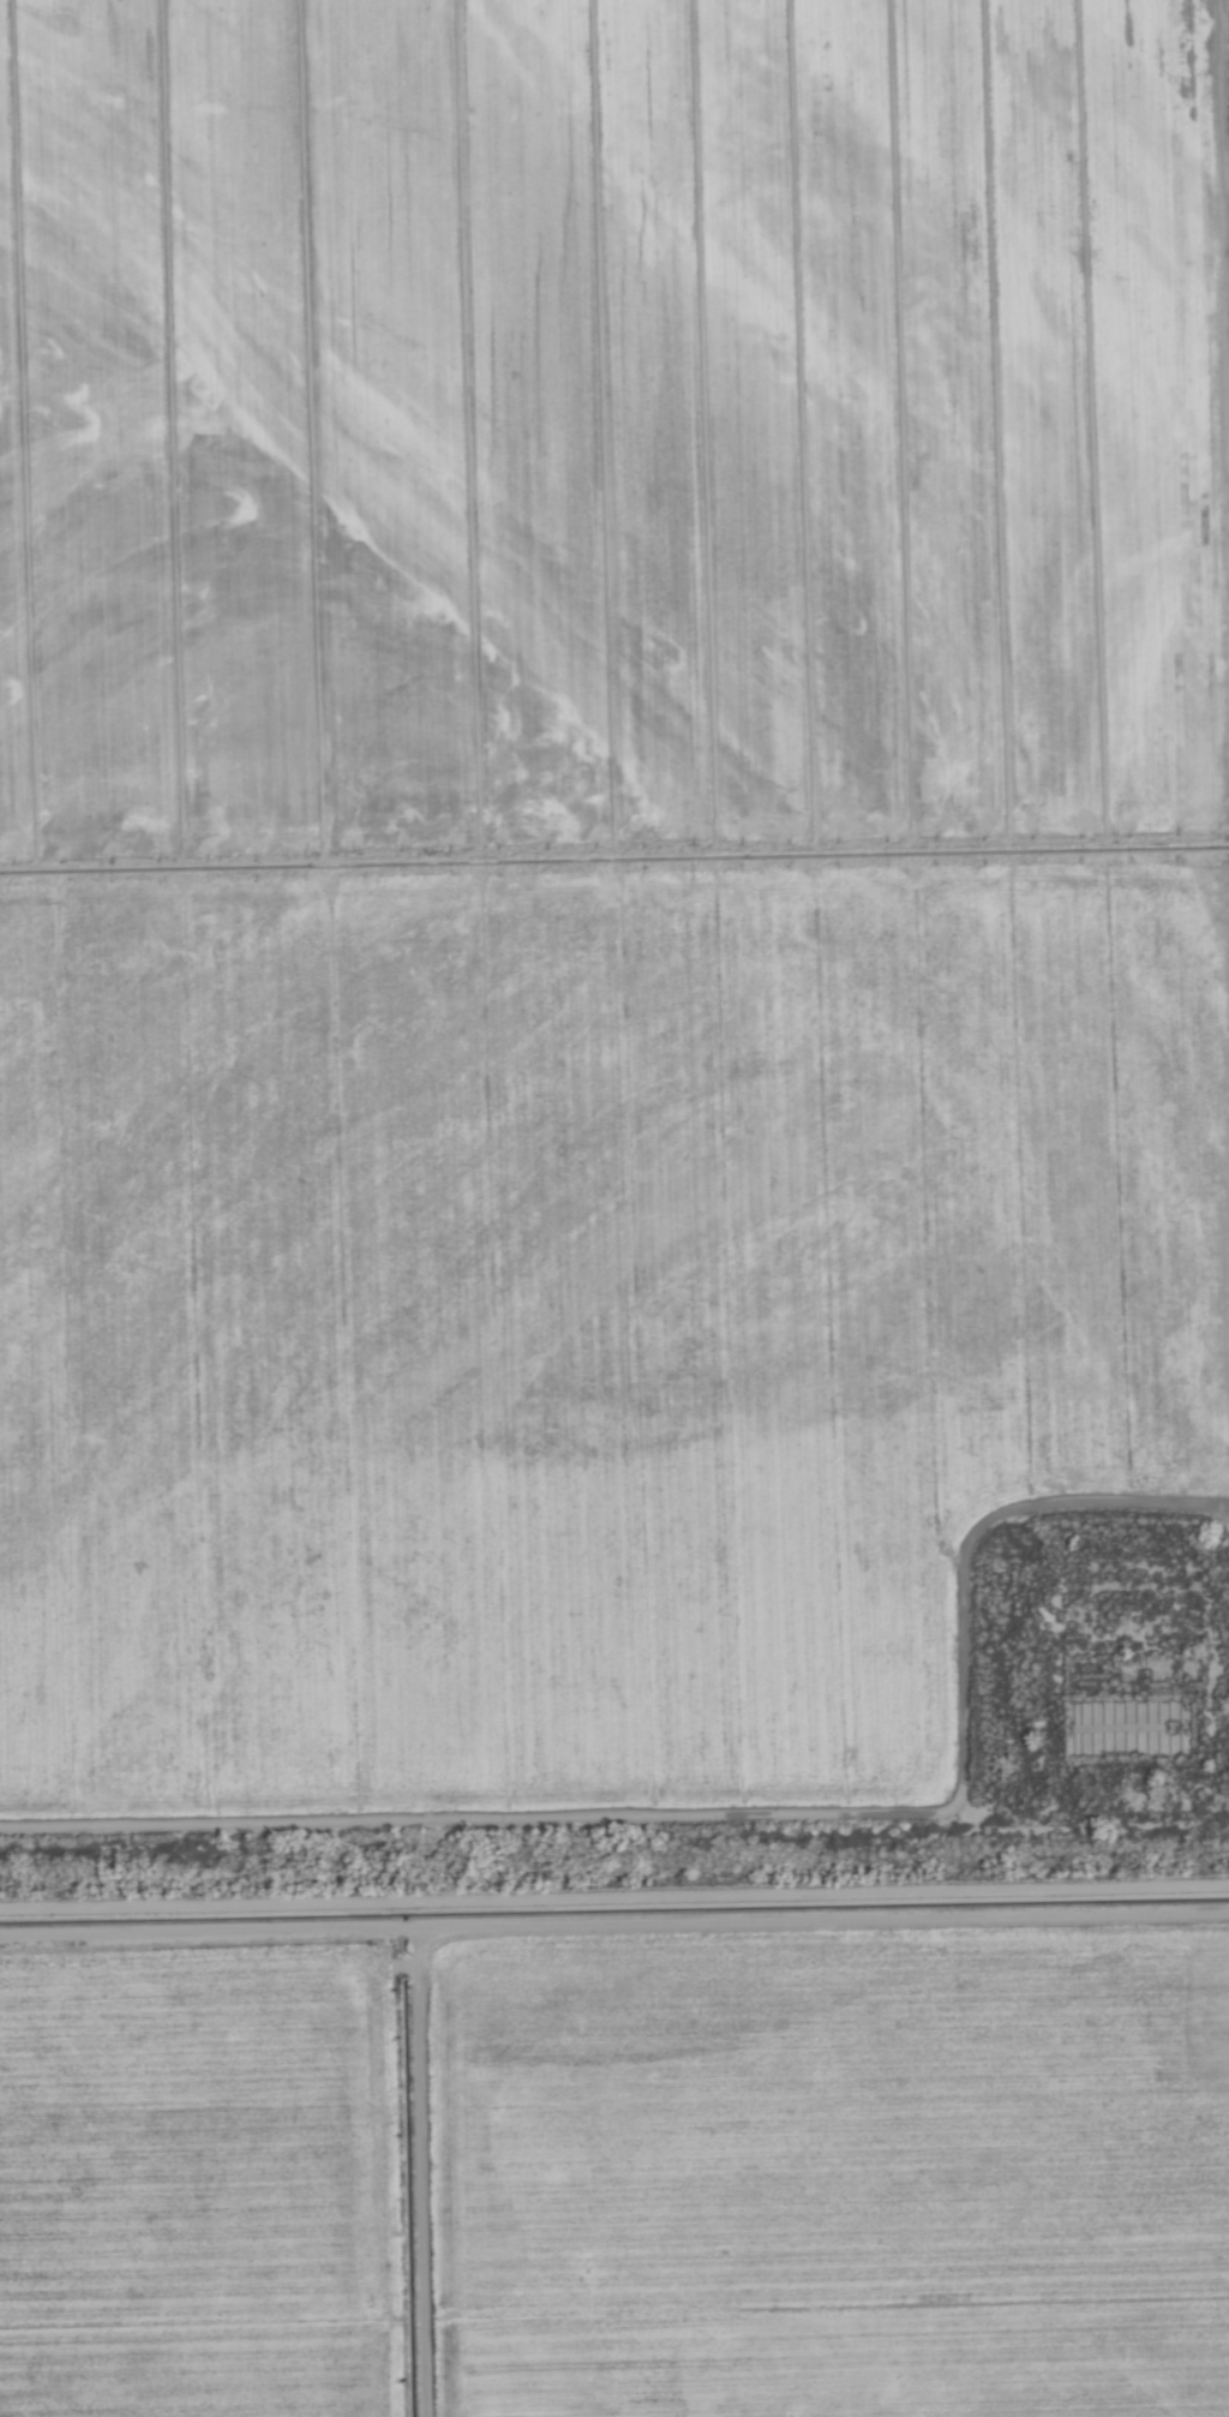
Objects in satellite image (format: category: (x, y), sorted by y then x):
crop: (581, 1324)

